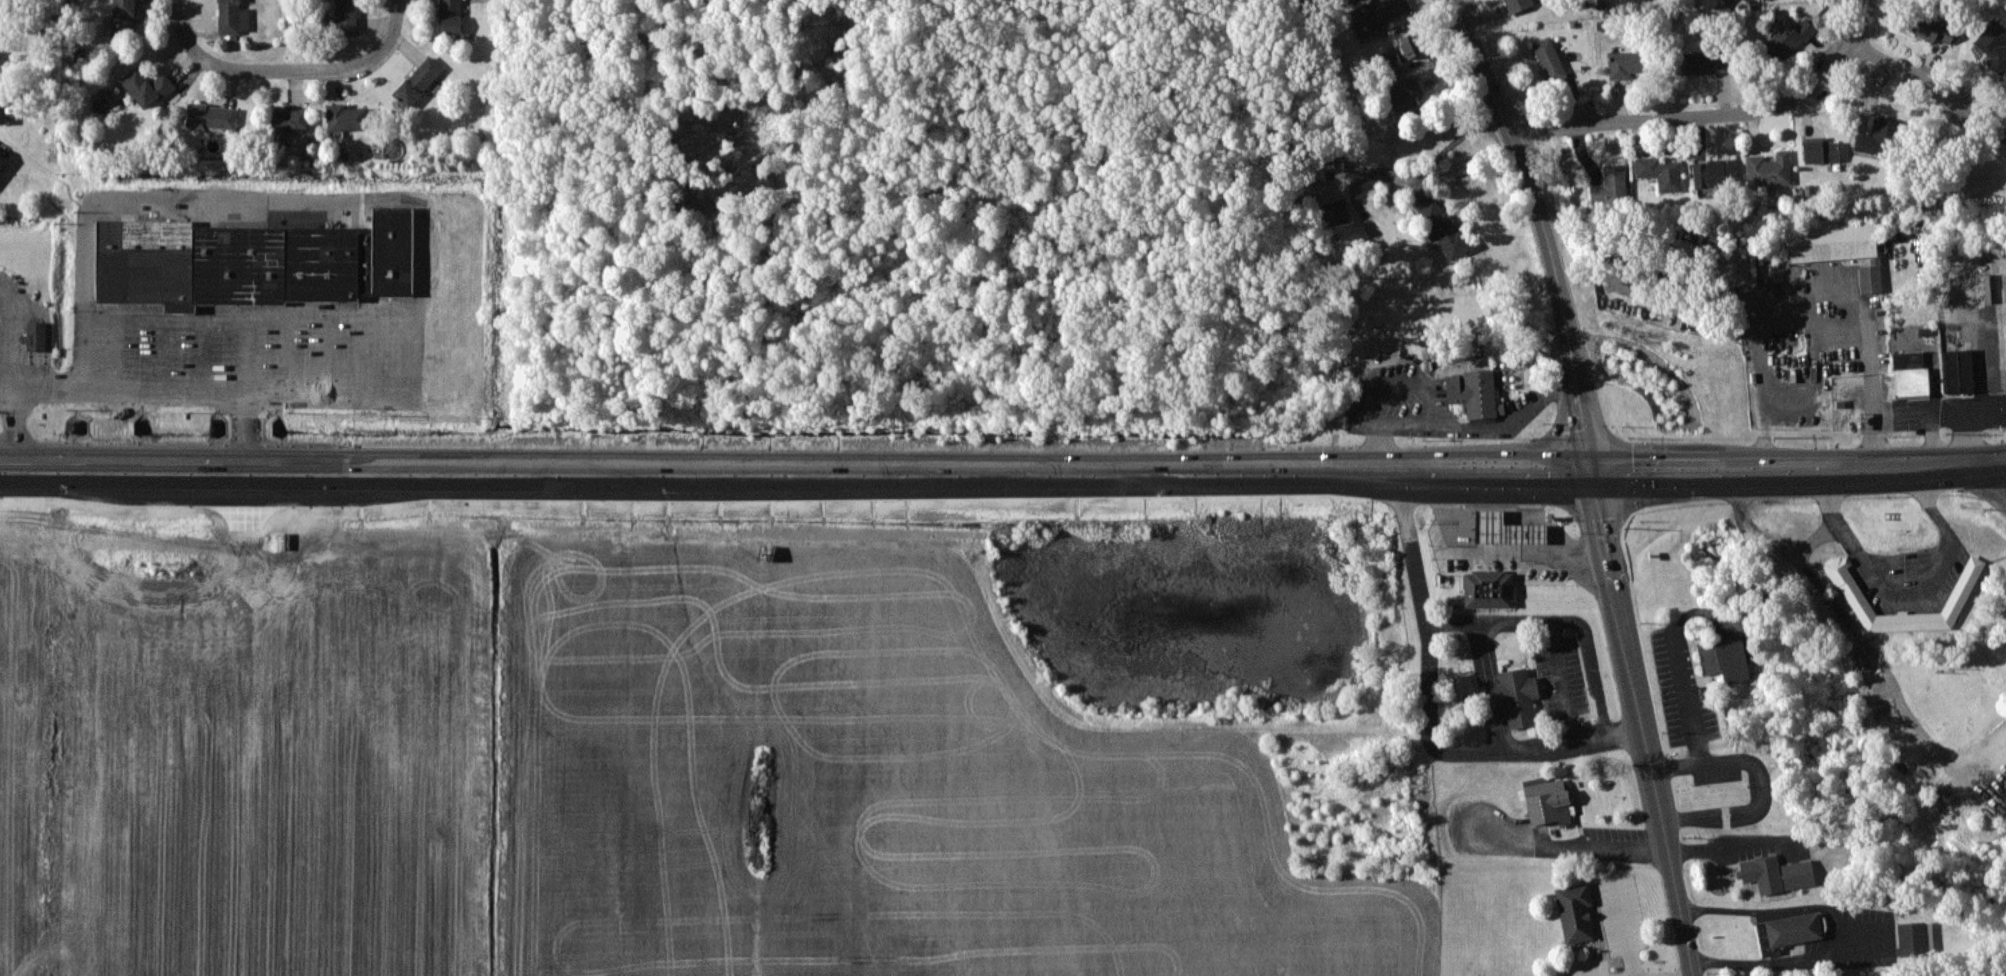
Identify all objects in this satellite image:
building: (1517, 5)
road: (397, 12)
building: (124, 16)
building: (347, 16)
building: (233, 17)
building: (450, 17)
building: (1382, 18)
road: (177, 19)
road: (1866, 24)
building: (1932, 28)
building: (1787, 38)
building: (1412, 44)
building: (1994, 45)
building: (1550, 60)
building: (1703, 62)
building: (1626, 63)
road: (295, 71)
road: (1911, 75)
building: (418, 81)
building: (147, 86)
building: (1406, 93)
building: (3, 113)
building: (212, 116)
building: (346, 117)
road: (1696, 118)
building: (290, 119)
building: (1879, 138)
building: (1821, 150)
building: (2, 162)
building: (1323, 165)
building: (1769, 170)
road: (1420, 171)
building: (1660, 172)
building: (1713, 173)
building: (1610, 186)
building: (1335, 212)
building: (1442, 228)
road: (1543, 231)
building: (1837, 247)
building: (145, 261)
building: (320, 263)
building: (239, 264)
road: (399, 307)
road: (1815, 311)
building: (37, 333)
building: (1958, 370)
road: (15, 371)
building: (1910, 373)
road: (7, 381)
building: (1475, 394)
road: (129, 428)
road: (245, 430)
road: (1003, 469)
traffic signals: (1594, 474)
road: (1982, 484)
gas station: (1504, 528)
building: (1505, 529)
building: (1488, 588)
road: (1906, 592)
building: (1957, 599)
road: (1483, 652)
building: (1725, 660)
building: (1861, 661)
road: (1562, 685)
road: (1492, 695)
building: (1514, 696)
road: (1688, 699)
road: (1644, 724)
road: (1499, 729)
road: (1624, 731)
road: (1515, 751)
road: (1759, 783)
building: (1548, 801)
road: (1723, 845)
road: (1582, 846)
building: (1763, 874)
building: (1798, 874)
building: (1575, 911)
road: (1770, 912)
building: (1794, 929)
building: (1914, 939)
road: (1782, 962)

